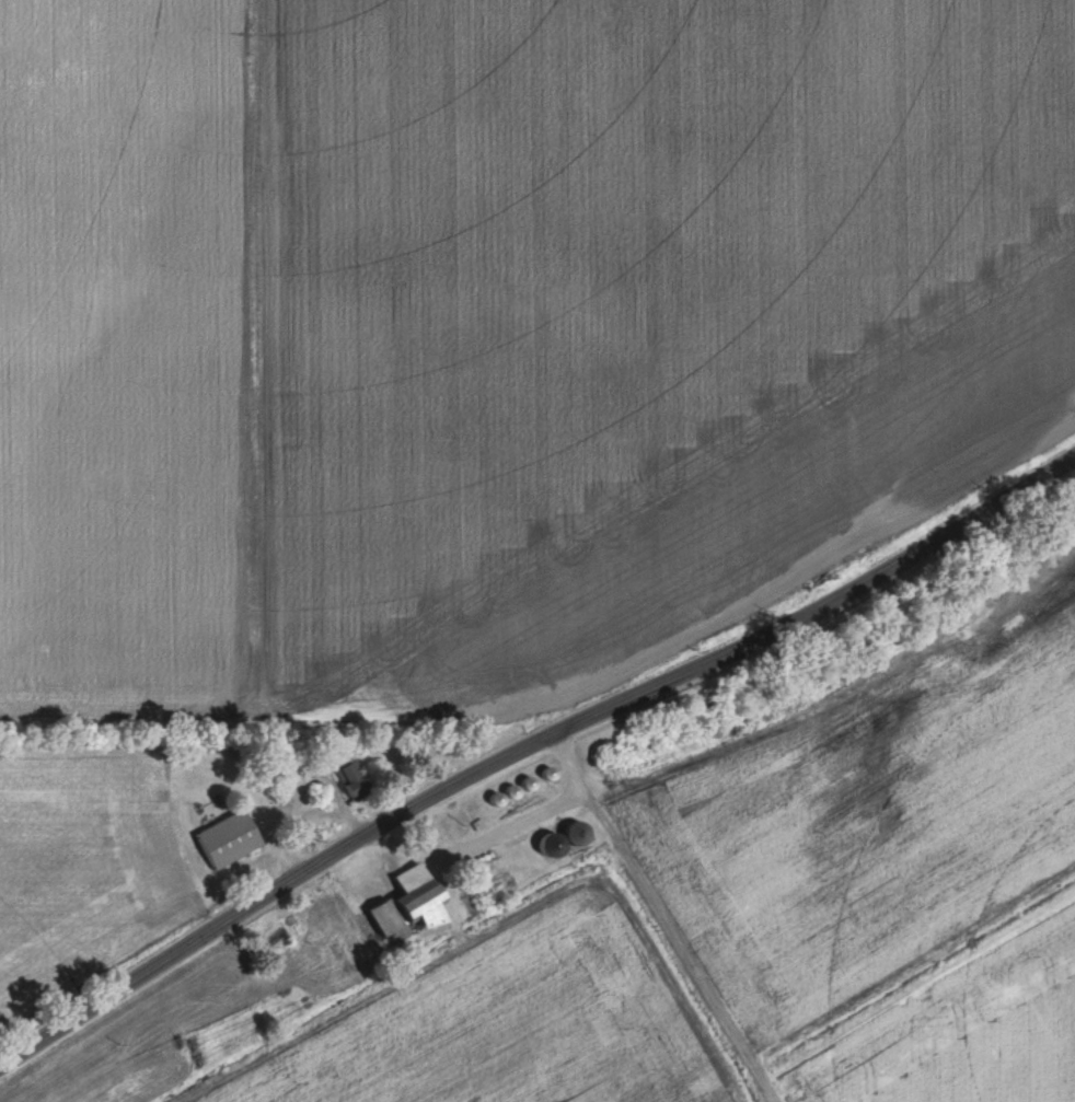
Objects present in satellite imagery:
road: (521, 746)
building: (346, 773)
building: (575, 835)
building: (227, 840)
building: (406, 903)

